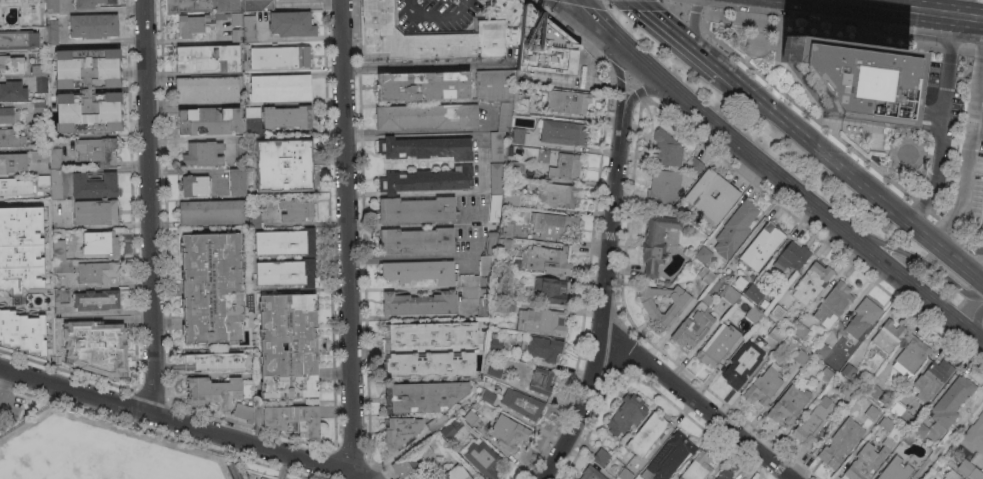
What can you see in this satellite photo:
road: (664, 2)
building: (90, 3)
road: (625, 3)
road: (952, 4)
building: (186, 5)
building: (254, 5)
building: (52, 6)
road: (685, 7)
building: (24, 10)
road: (436, 14)
road: (873, 14)
building: (236, 18)
building: (509, 18)
road: (597, 19)
building: (291, 23)
building: (190, 24)
building: (93, 25)
building: (249, 28)
road: (694, 30)
road: (843, 30)
building: (52, 32)
building: (237, 35)
road: (676, 36)
building: (423, 37)
building: (18, 39)
building: (544, 45)
building: (280, 57)
park: (762, 57)
building: (206, 58)
building: (11, 65)
building: (914, 76)
building: (40, 77)
road: (619, 78)
building: (849, 78)
road: (629, 81)
road: (734, 82)
helipad: (853, 83)
building: (423, 85)
building: (280, 88)
building: (206, 89)
building: (13, 90)
building: (88, 90)
road: (638, 92)
building: (500, 102)
building: (561, 102)
building: (39, 107)
road: (803, 109)
building: (253, 112)
building: (9, 115)
building: (426, 116)
building: (287, 117)
building: (208, 120)
building: (41, 122)
road: (977, 126)
road: (942, 127)
building: (563, 132)
road: (414, 136)
building: (518, 136)
building: (11, 138)
park: (775, 143)
building: (240, 146)
road: (969, 146)
building: (426, 147)
building: (95, 149)
building: (665, 149)
park: (892, 150)
building: (203, 154)
road: (720, 156)
building: (518, 157)
building: (12, 163)
building: (283, 165)
building: (567, 165)
building: (694, 165)
building: (51, 167)
building: (517, 168)
building: (496, 177)
building: (426, 180)
building: (237, 182)
building: (94, 185)
building: (195, 185)
building: (7, 186)
building: (664, 186)
road: (864, 186)
road: (444, 190)
road: (797, 192)
building: (39, 194)
building: (559, 194)
building: (711, 196)
building: (511, 199)
road: (922, 206)
road: (147, 207)
building: (495, 207)
building: (296, 209)
building: (417, 210)
building: (95, 212)
building: (211, 212)
road: (933, 215)
building: (254, 218)
building: (555, 225)
road: (948, 226)
building: (508, 229)
building: (735, 229)
road: (592, 230)
road: (348, 236)
building: (416, 240)
building: (657, 241)
building: (285, 242)
building: (100, 243)
building: (504, 243)
road: (970, 244)
building: (762, 245)
road: (364, 246)
building: (21, 248)
building: (488, 253)
building: (704, 254)
road: (409, 255)
building: (792, 256)
building: (61, 258)
building: (547, 260)
road: (921, 262)
road: (133, 264)
building: (420, 271)
building: (98, 272)
building: (286, 273)
building: (706, 274)
building: (666, 282)
building: (716, 282)
building: (740, 282)
building: (812, 282)
building: (469, 285)
building: (211, 288)
building: (550, 291)
building: (730, 294)
building: (753, 294)
building: (61, 295)
building: (96, 300)
building: (419, 303)
building: (834, 303)
road: (600, 305)
building: (488, 306)
building: (673, 310)
building: (778, 312)
building: (753, 314)
road: (974, 315)
building: (860, 319)
building: (541, 321)
building: (695, 323)
building: (22, 331)
building: (801, 331)
building: (432, 333)
building: (776, 333)
building: (888, 335)
building: (496, 344)
building: (718, 344)
building: (288, 346)
building: (96, 347)
building: (545, 348)
building: (812, 348)
building: (823, 350)
road: (623, 354)
building: (911, 355)
building: (801, 357)
building: (216, 360)
building: (429, 364)
building: (742, 364)
building: (848, 370)
building: (495, 371)
building: (826, 375)
building: (931, 379)
building: (541, 380)
road: (4, 384)
building: (763, 385)
road: (5, 387)
building: (873, 390)
building: (213, 391)
building: (849, 391)
road: (153, 394)
building: (488, 395)
building: (423, 396)
building: (951, 402)
building: (523, 403)
road: (698, 403)
building: (788, 404)
road: (132, 407)
building: (897, 409)
building: (244, 412)
building: (872, 412)
building: (626, 414)
building: (470, 417)
building: (907, 417)
building: (294, 418)
building: (814, 421)
building: (437, 422)
road: (591, 423)
building: (886, 423)
road: (184, 424)
building: (456, 424)
building: (919, 430)
building: (447, 431)
building: (399, 432)
building: (508, 432)
road: (157, 433)
road: (274, 434)
building: (647, 434)
building: (973, 435)
road: (949, 436)
building: (907, 439)
building: (841, 442)
building: (888, 443)
park: (93, 448)
building: (425, 449)
park: (93, 455)
road: (351, 456)
building: (601, 456)
building: (669, 457)
building: (482, 458)
building: (865, 462)
building: (401, 466)
building: (965, 466)
building: (697, 467)
building: (895, 469)
building: (456, 473)
building: (591, 473)
building: (976, 473)
building: (624, 474)
building: (249, 475)
building: (725, 475)
building: (952, 475)
building: (429, 477)

